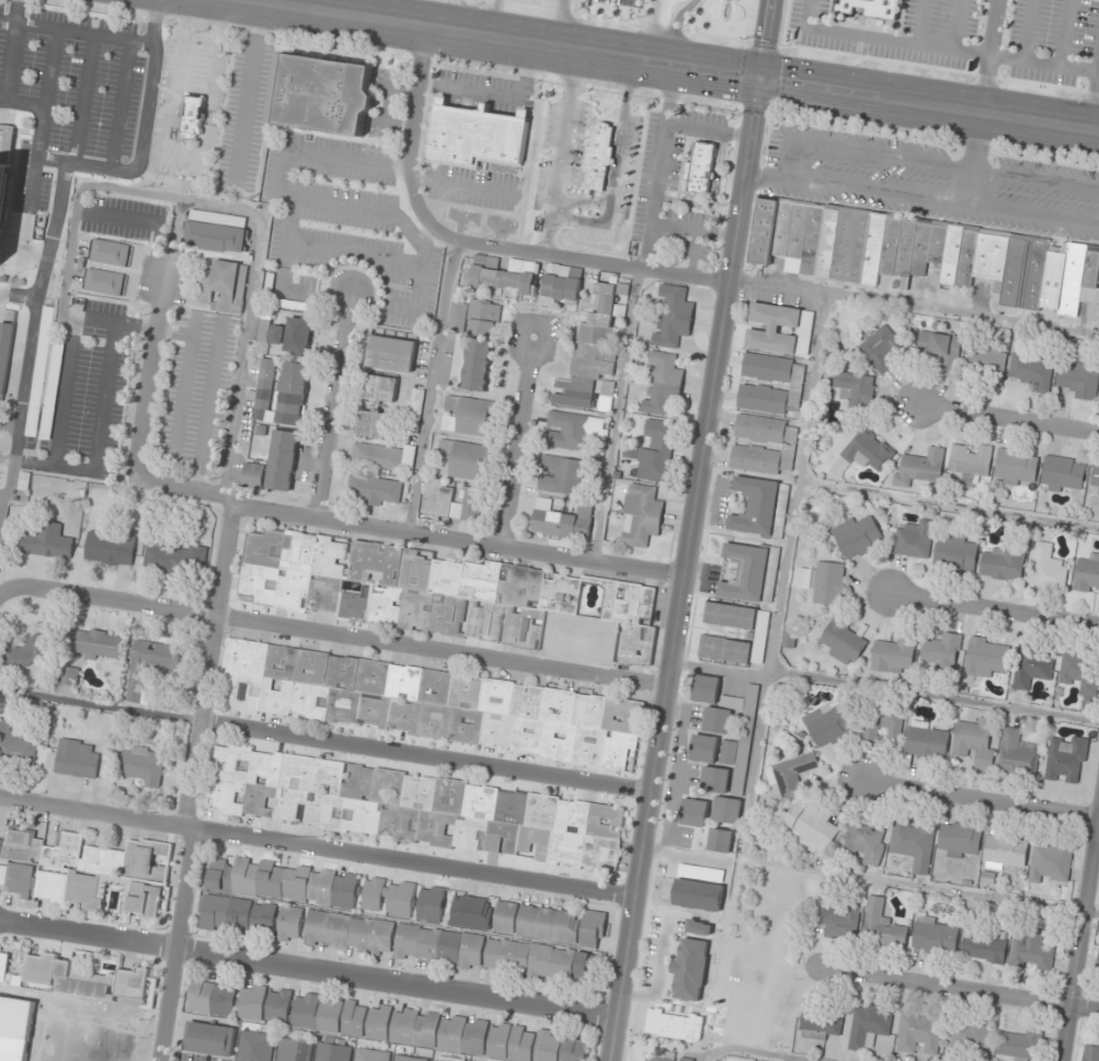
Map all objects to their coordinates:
building: (870, 8)
road: (493, 19)
road: (559, 23)
road: (673, 28)
road: (646, 30)
road: (77, 32)
road: (882, 42)
road: (11, 50)
road: (988, 56)
road: (674, 62)
road: (49, 68)
traffic signals: (755, 76)
road: (248, 90)
building: (321, 94)
road: (82, 99)
road: (22, 102)
road: (119, 105)
road: (412, 113)
building: (191, 115)
parking lot: (242, 118)
road: (706, 130)
road: (39, 132)
road: (142, 135)
building: (473, 136)
road: (559, 151)
road: (186, 156)
building: (597, 157)
road: (616, 157)
road: (974, 158)
building: (4, 162)
road: (927, 162)
road: (660, 167)
building: (698, 168)
road: (712, 195)
road: (920, 197)
road: (244, 210)
road: (26, 216)
parking lot: (123, 217)
road: (146, 221)
building: (781, 227)
road: (690, 230)
building: (760, 230)
building: (217, 232)
building: (795, 237)
building: (811, 239)
road: (174, 240)
building: (826, 241)
building: (936, 242)
building: (889, 243)
building: (850, 244)
building: (919, 247)
building: (872, 248)
building: (904, 250)
building: (107, 252)
road: (691, 253)
road: (560, 256)
building: (950, 256)
building: (989, 256)
building: (965, 259)
building: (1014, 270)
building: (503, 274)
building: (1033, 274)
building: (1089, 274)
building: (1052, 276)
parking lot: (161, 279)
building: (1071, 279)
building: (102, 282)
building: (562, 284)
building: (224, 286)
road: (776, 289)
road: (18, 296)
building: (1096, 299)
building: (774, 316)
building: (474, 317)
building: (671, 317)
road: (107, 322)
road: (30, 333)
building: (275, 335)
building: (296, 335)
building: (769, 342)
building: (879, 347)
building: (938, 347)
building: (596, 350)
building: (4, 351)
building: (389, 354)
building: (983, 361)
building: (456, 362)
building: (766, 367)
building: (38, 370)
building: (1030, 370)
road: (148, 379)
building: (1076, 379)
building: (661, 384)
road: (430, 385)
building: (852, 387)
building: (376, 388)
building: (263, 389)
building: (49, 390)
parking lot: (84, 391)
road: (62, 392)
building: (288, 395)
building: (760, 399)
road: (333, 407)
building: (413, 411)
road: (614, 414)
building: (469, 415)
road: (1007, 418)
building: (371, 423)
road: (9, 424)
building: (758, 429)
building: (573, 430)
road: (98, 436)
road: (515, 441)
building: (654, 450)
building: (866, 450)
building: (375, 456)
building: (405, 456)
building: (462, 459)
building: (754, 459)
road: (5, 460)
building: (281, 460)
building: (968, 461)
building: (1011, 467)
building: (918, 468)
building: (1060, 474)
building: (253, 476)
building: (561, 476)
building: (1095, 478)
building: (373, 490)
road: (1, 494)
building: (451, 502)
road: (947, 505)
building: (754, 506)
building: (641, 516)
building: (561, 522)
road: (689, 530)
road: (407, 532)
building: (855, 536)
building: (913, 540)
building: (48, 543)
building: (111, 548)
building: (953, 554)
building: (176, 559)
building: (1000, 564)
building: (1045, 568)
building: (744, 573)
building: (1086, 573)
building: (827, 583)
road: (9, 587)
building: (434, 592)
road: (777, 609)
road: (994, 609)
building: (729, 615)
road: (342, 636)
building: (787, 639)
building: (840, 641)
building: (99, 644)
building: (723, 649)
building: (940, 650)
building: (28, 652)
building: (891, 654)
building: (243, 657)
building: (983, 658)
building: (279, 663)
building: (310, 668)
building: (1029, 668)
road: (718, 671)
building: (341, 672)
building: (1078, 673)
building: (69, 676)
building: (371, 676)
building: (402, 683)
building: (137, 685)
building: (433, 687)
building: (705, 689)
building: (241, 691)
building: (465, 692)
building: (495, 696)
road: (934, 696)
building: (274, 698)
building: (308, 700)
building: (526, 701)
building: (342, 705)
road: (100, 706)
building: (557, 706)
building: (374, 711)
building: (587, 711)
building: (404, 716)
building: (621, 716)
building: (434, 721)
building: (716, 721)
building: (881, 721)
building: (826, 723)
building: (465, 726)
building: (495, 730)
building: (526, 735)
building: (782, 741)
building: (557, 742)
building: (923, 742)
building: (972, 742)
building: (14, 746)
building: (587, 746)
building: (702, 749)
building: (619, 752)
building: (1014, 754)
road: (424, 755)
building: (1064, 758)
building: (73, 760)
building: (230, 763)
building: (139, 767)
building: (264, 767)
building: (295, 773)
building: (324, 776)
building: (789, 776)
building: (713, 780)
building: (356, 783)
road: (190, 784)
building: (387, 787)
building: (417, 792)
building: (224, 796)
building: (448, 796)
road: (982, 799)
building: (257, 800)
building: (479, 802)
building: (287, 803)
building: (510, 807)
building: (323, 811)
building: (540, 811)
building: (725, 811)
building: (692, 813)
building: (362, 817)
building: (571, 817)
building: (604, 822)
building: (397, 823)
building: (810, 828)
building: (434, 829)
building: (467, 832)
building: (500, 837)
building: (957, 840)
building: (862, 841)
building: (534, 842)
building: (911, 844)
road: (317, 847)
building: (563, 851)
building: (1001, 851)
building: (598, 853)
building: (1048, 860)
building: (76, 867)
building: (285, 882)
building: (389, 898)
building: (145, 900)
building: (432, 904)
building: (472, 913)
road: (1090, 913)
building: (239, 914)
building: (839, 923)
building: (290, 924)
building: (550, 924)
building: (880, 927)
building: (697, 928)
road: (1079, 932)
building: (931, 936)
building: (981, 946)
building: (450, 948)
building: (1029, 949)
building: (1097, 961)
building: (3, 968)
road: (306, 971)
building: (690, 971)
building: (87, 980)
road: (960, 990)
building: (227, 1000)
building: (278, 1006)
building: (16, 1016)
building: (817, 1022)
building: (866, 1026)
building: (431, 1031)
building: (917, 1033)
building: (968, 1036)
building: (210, 1039)
road: (55, 1041)
building: (255, 1043)
building: (1018, 1045)
building: (295, 1050)
building: (331, 1052)
road: (752, 1052)
building: (1089, 1053)
building: (373, 1056)
building: (410, 1059)
building: (445, 1059)
building: (653, 1059)
building: (684, 1059)

